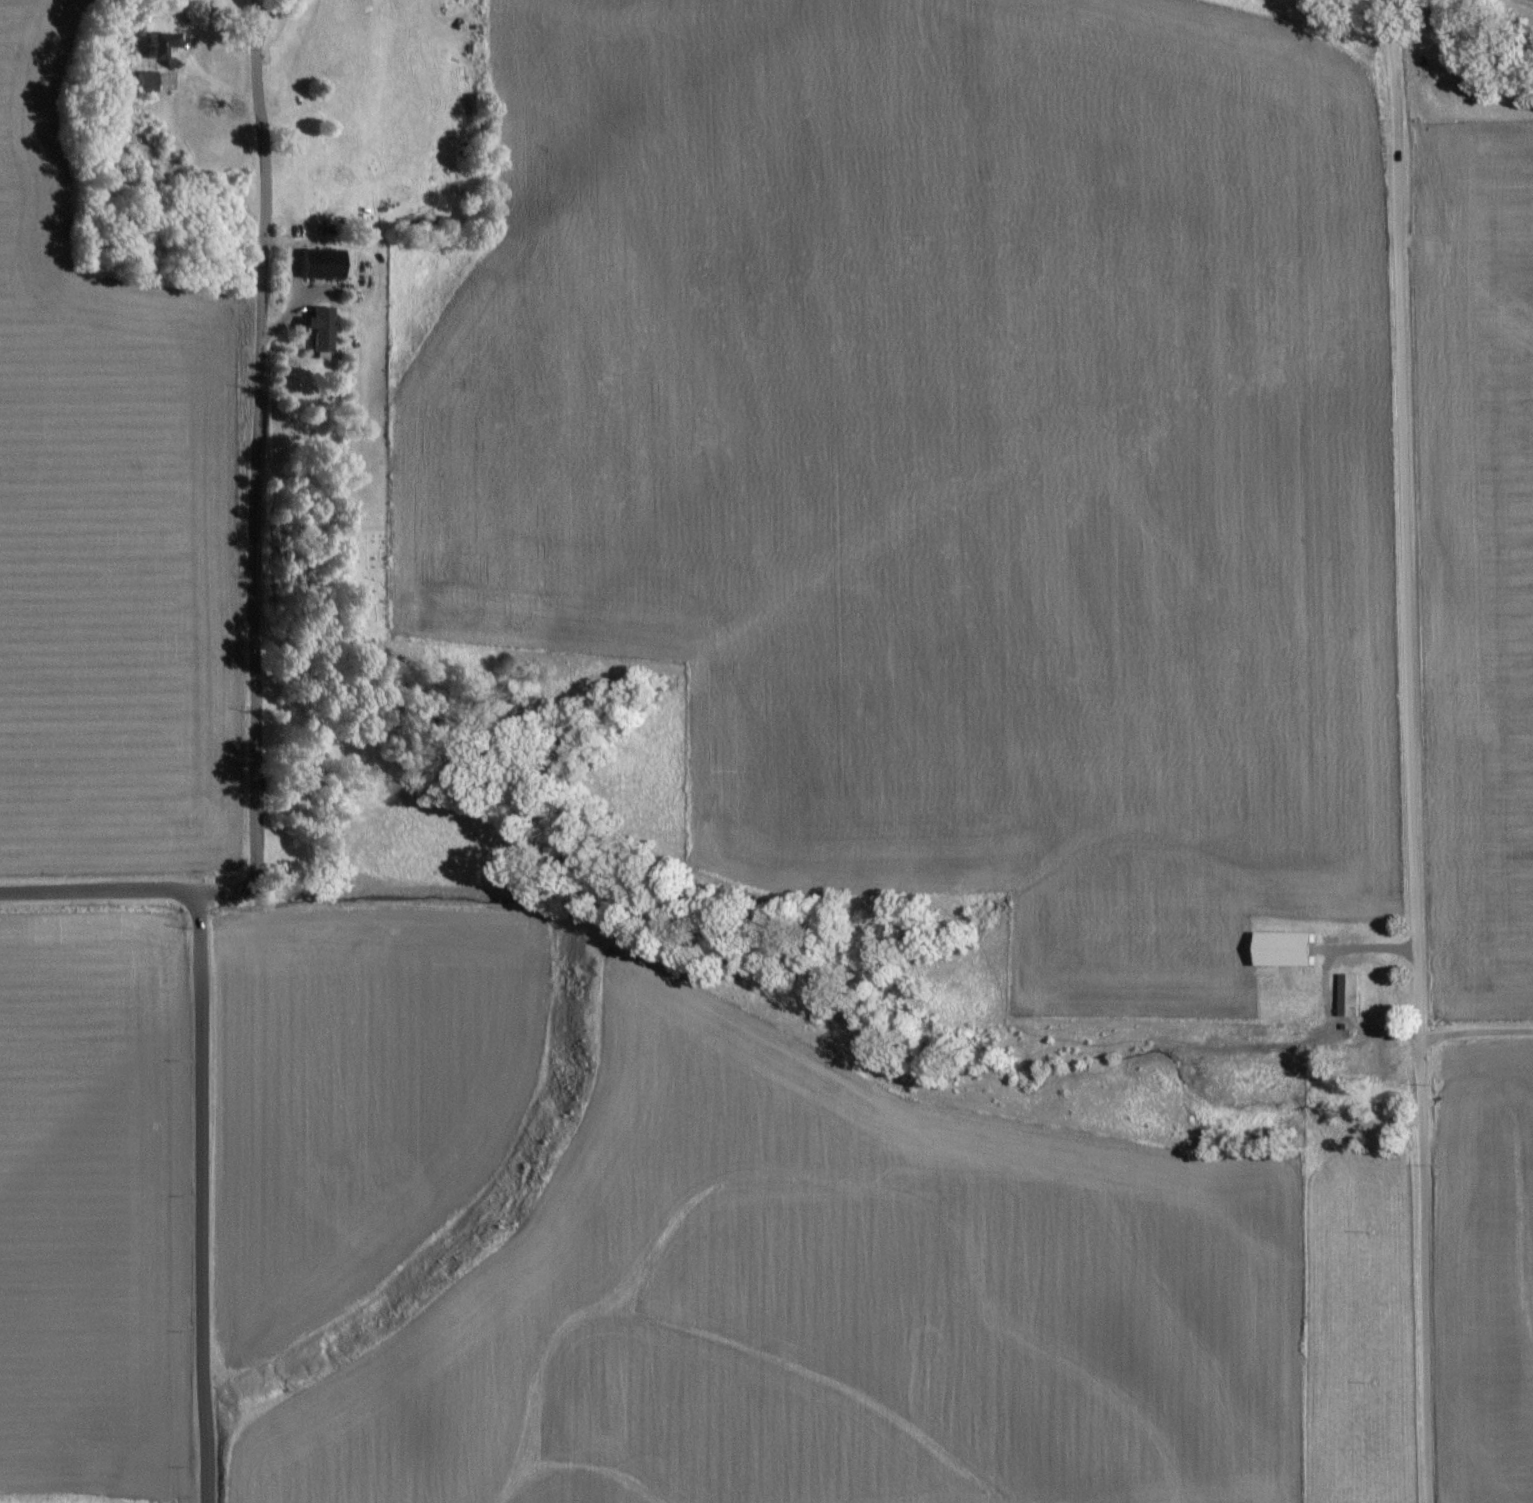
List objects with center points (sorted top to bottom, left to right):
building: (158, 43)
building: (148, 81)
building: (326, 264)
building: (322, 330)
road: (1407, 751)
road: (254, 774)
road: (98, 890)
building: (1284, 949)
road: (1474, 1033)
building: (1374, 1051)

